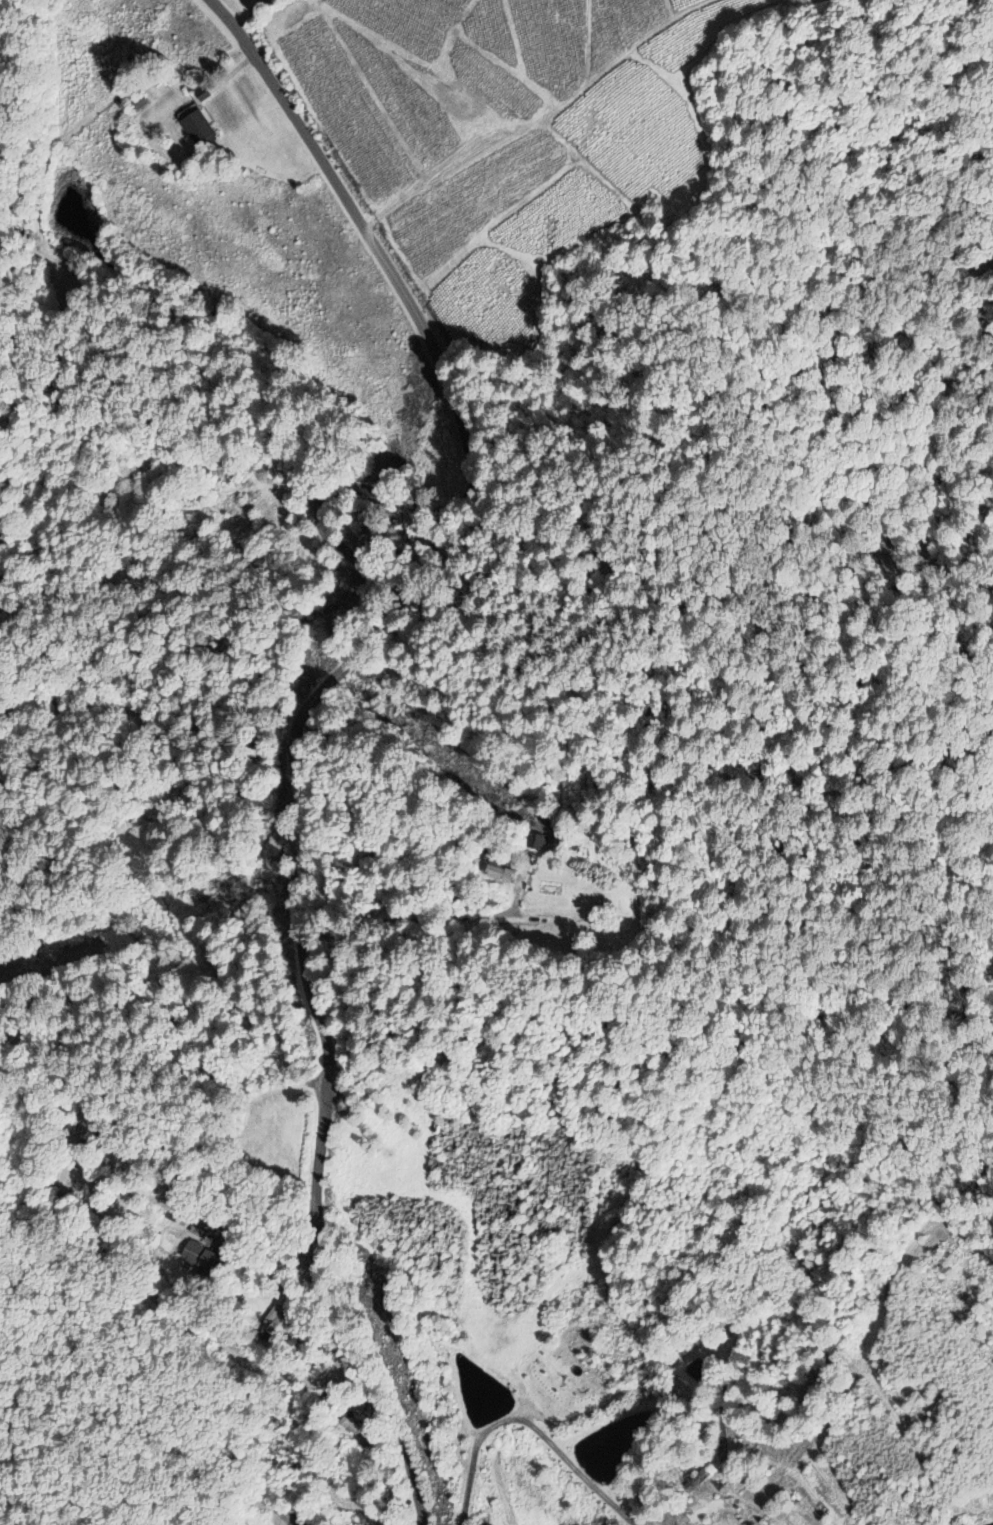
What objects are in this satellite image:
road: (368, 649)
road: (229, 1353)
road: (532, 1421)

